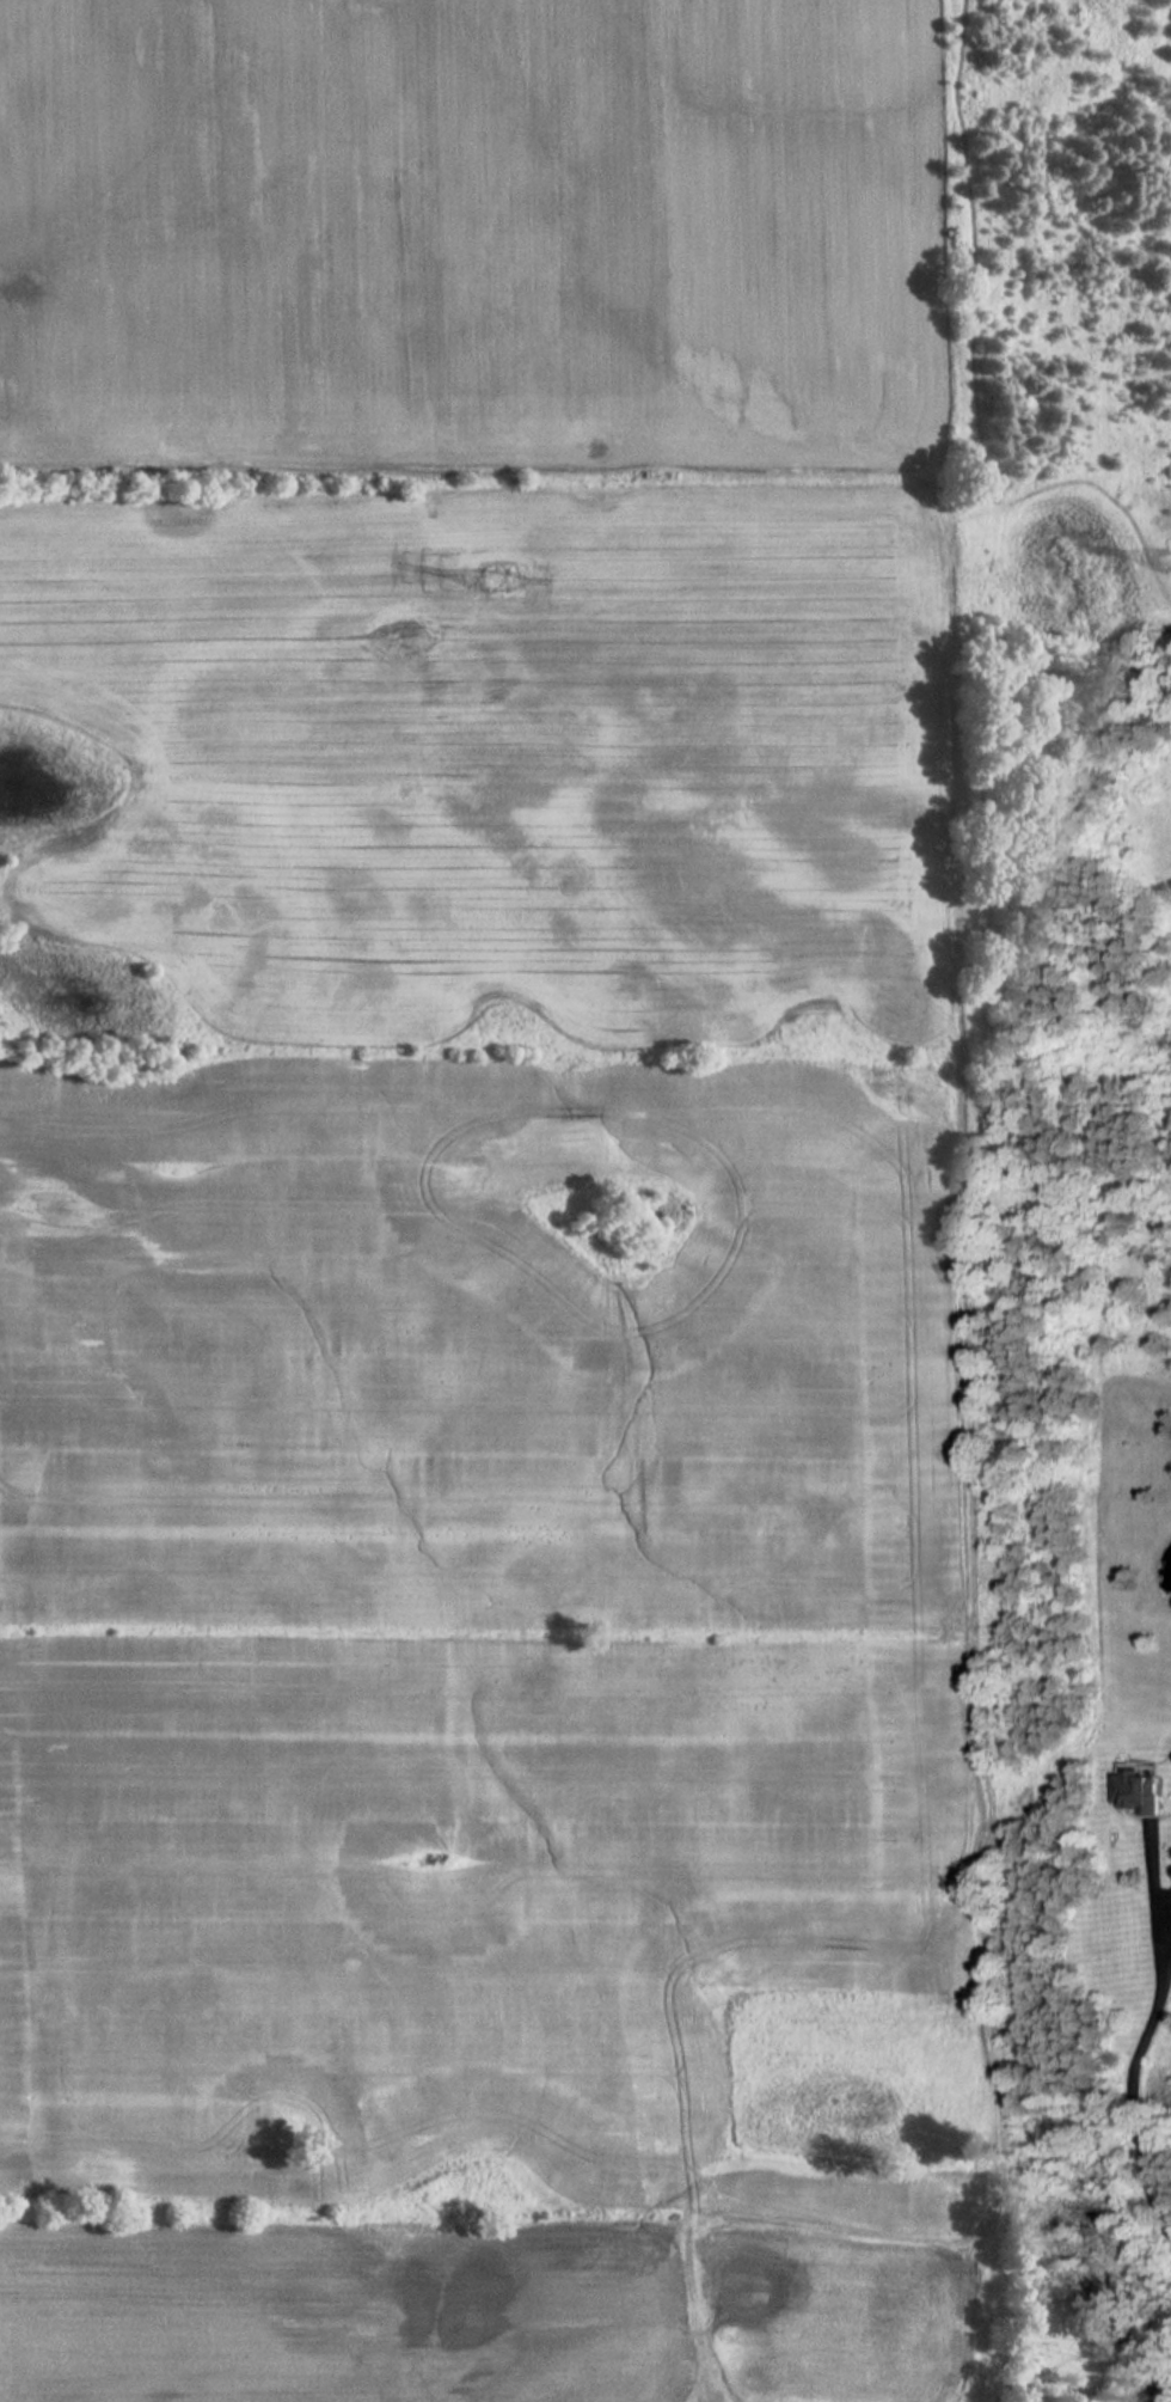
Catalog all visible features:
power tower: (493, 582)
building: (1140, 1791)
road: (1130, 2084)
road: (1154, 2392)

